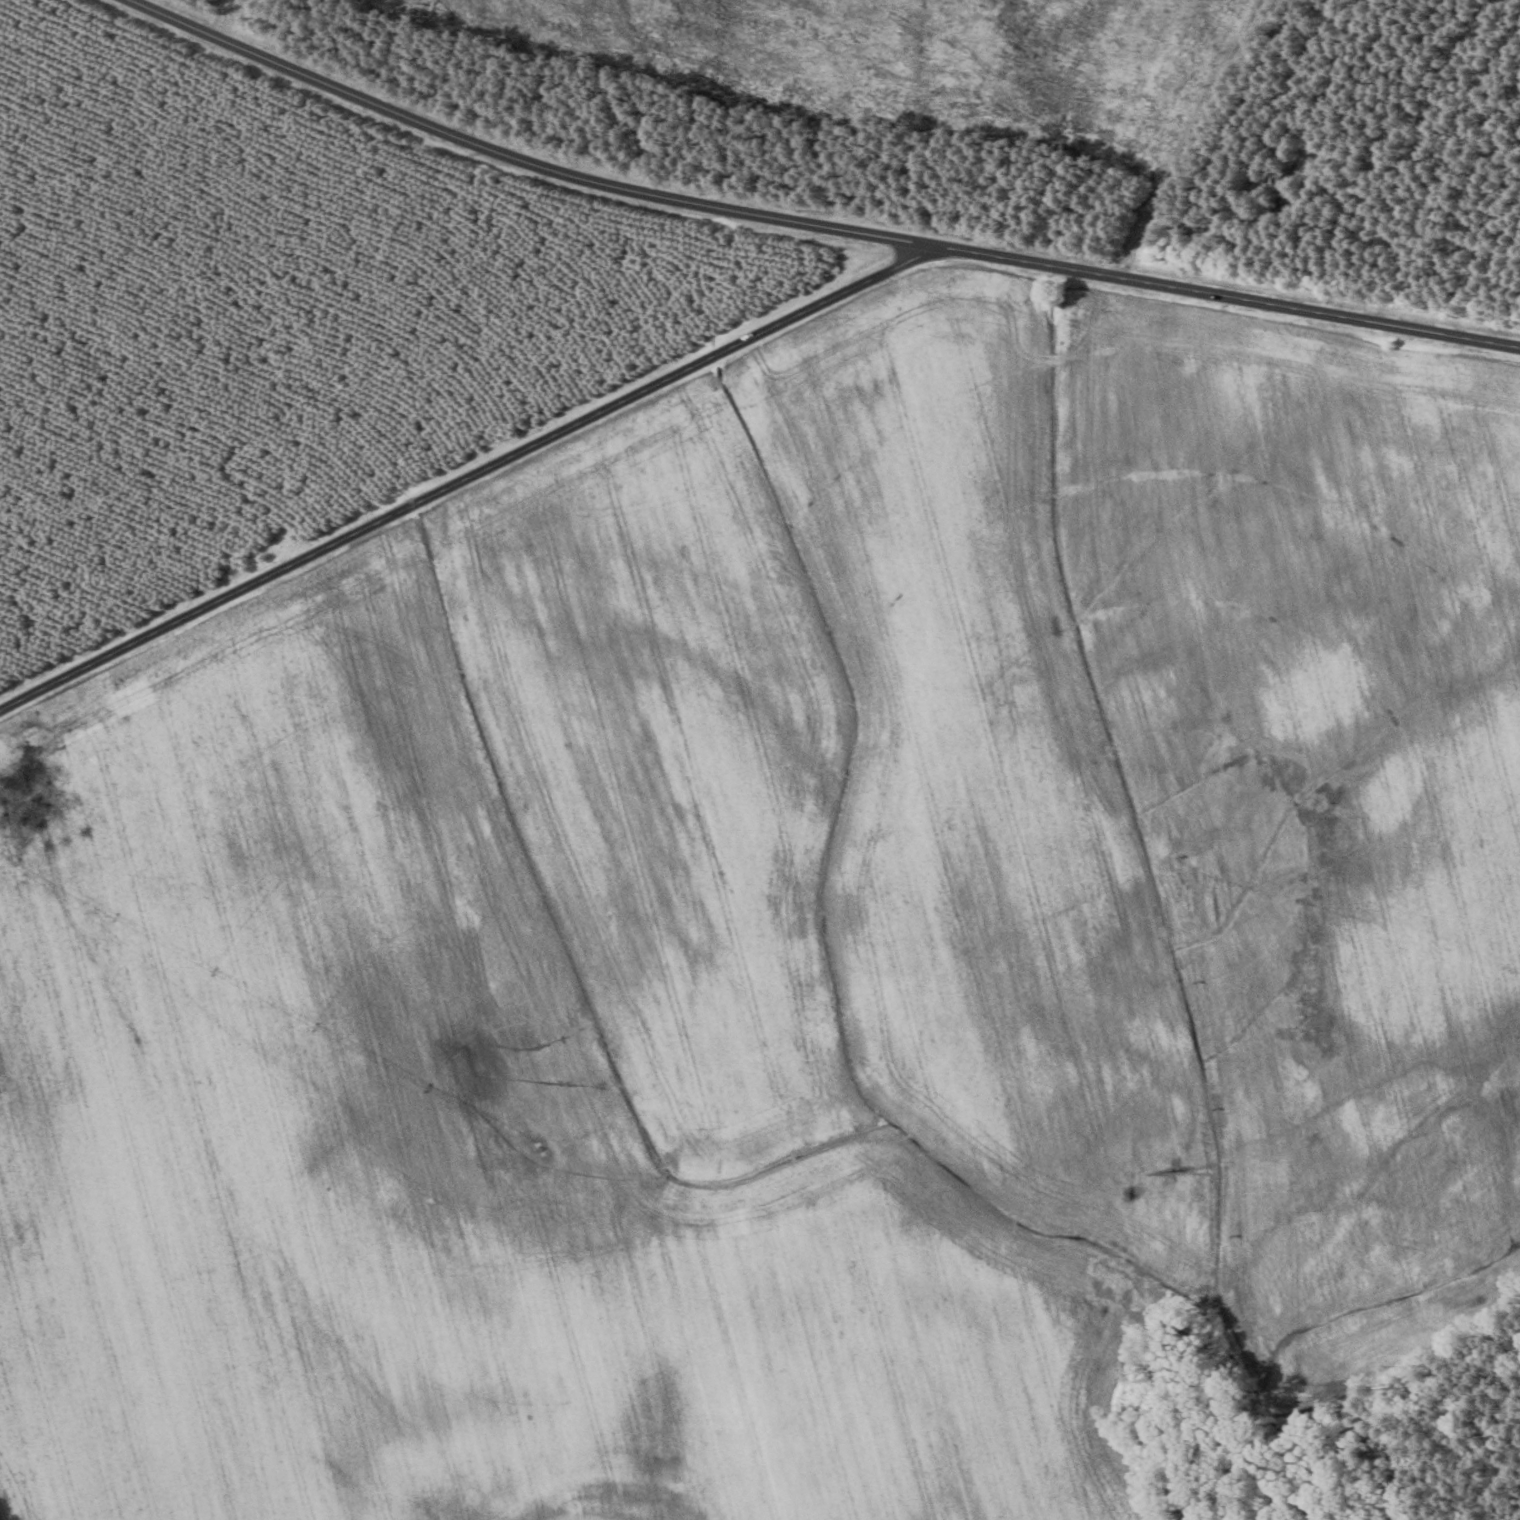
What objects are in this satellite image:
road: (792, 230)
road: (457, 481)

